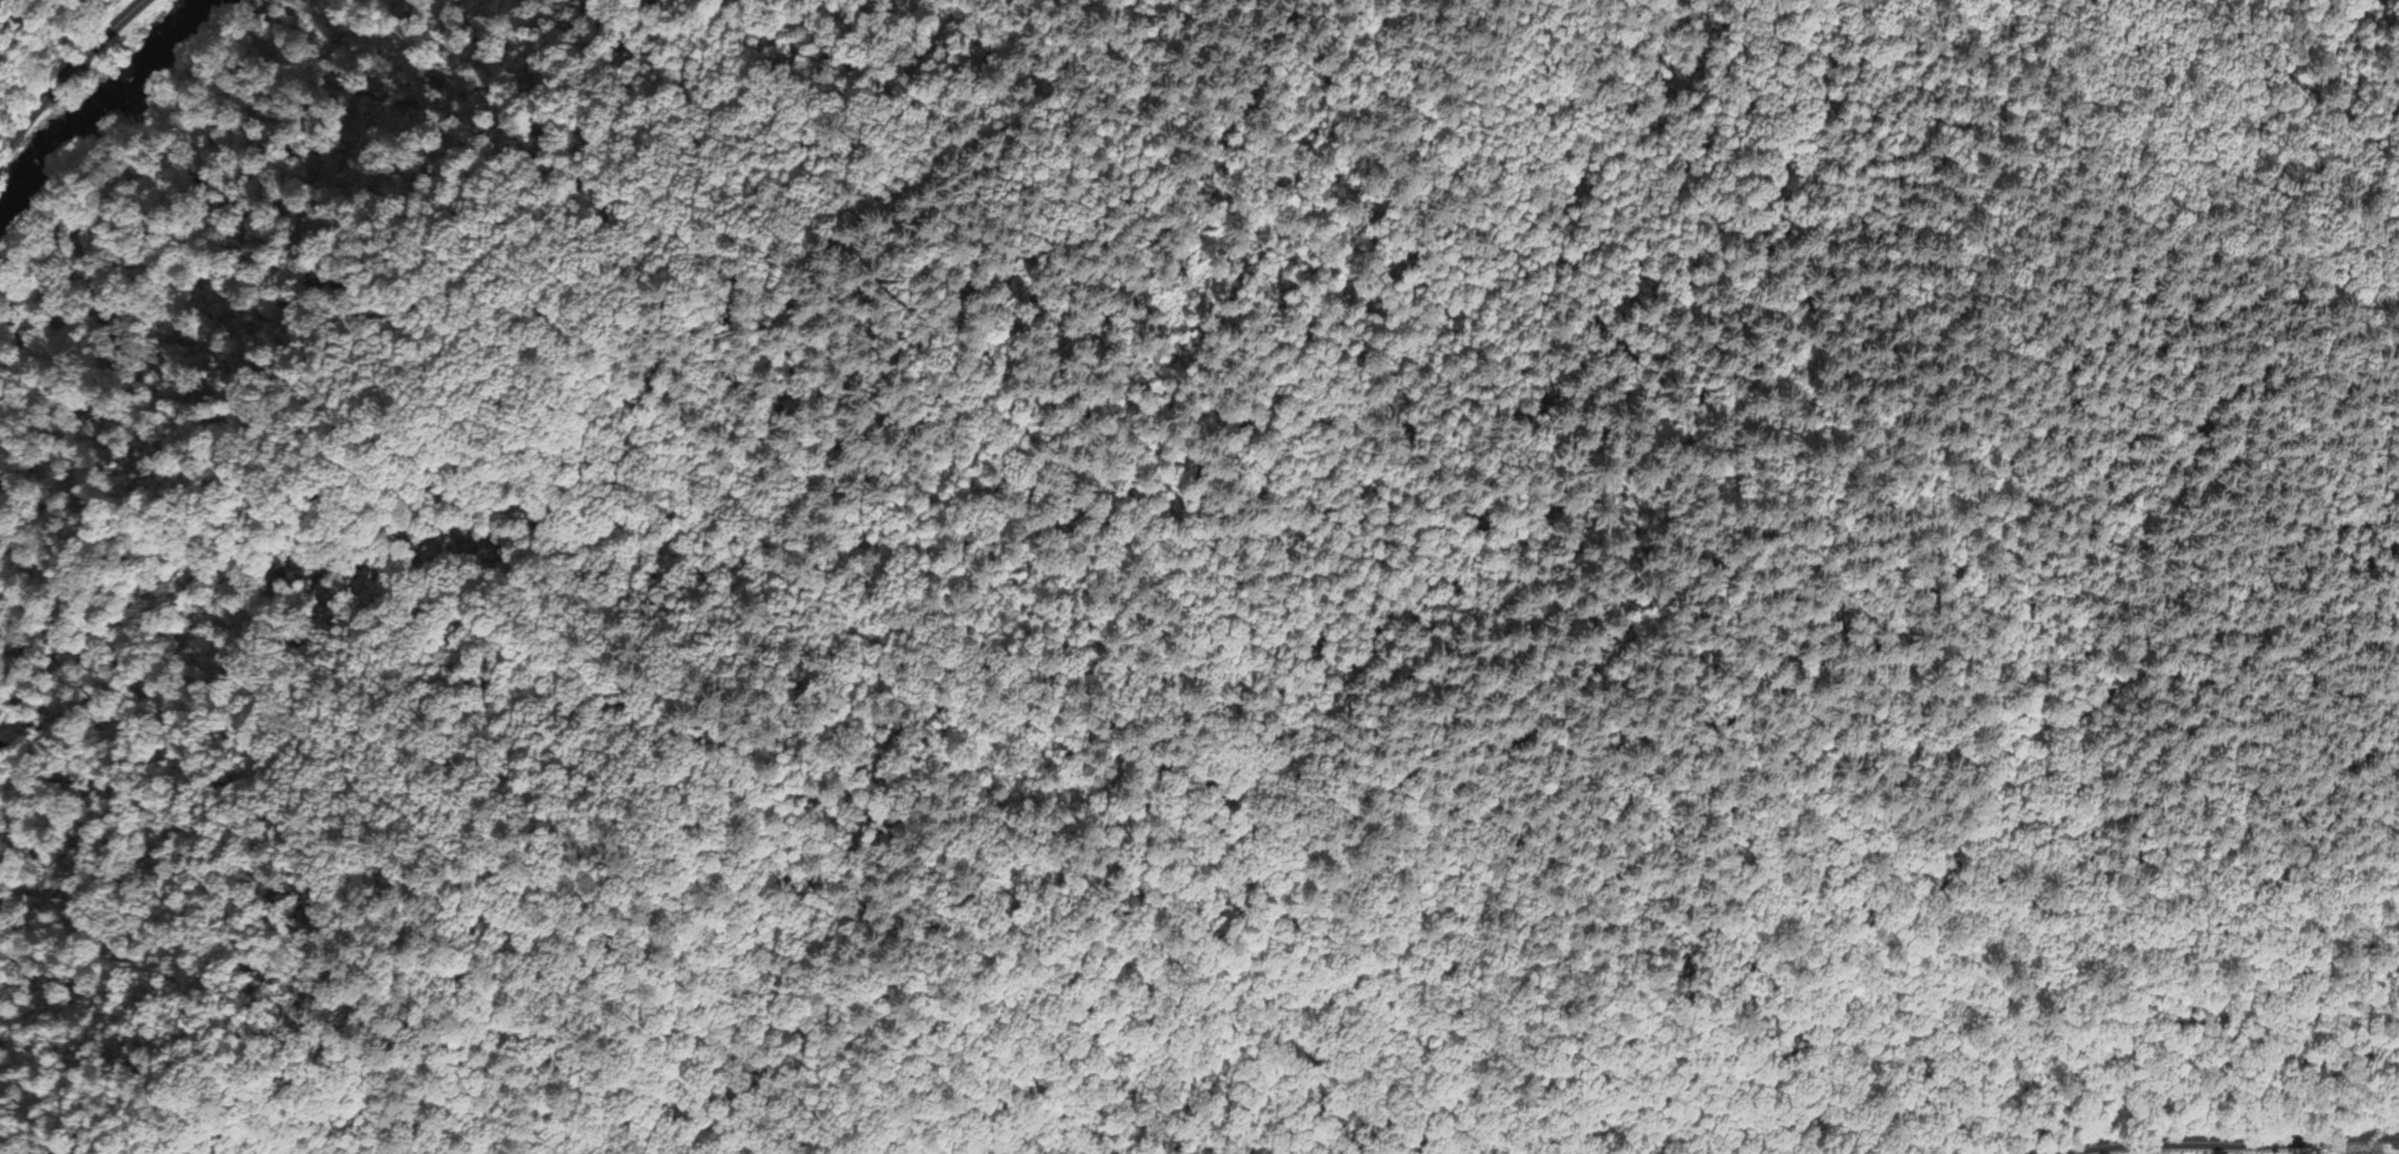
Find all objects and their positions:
road: (67, 72)
river: (89, 112)
road: (2222, 1141)

